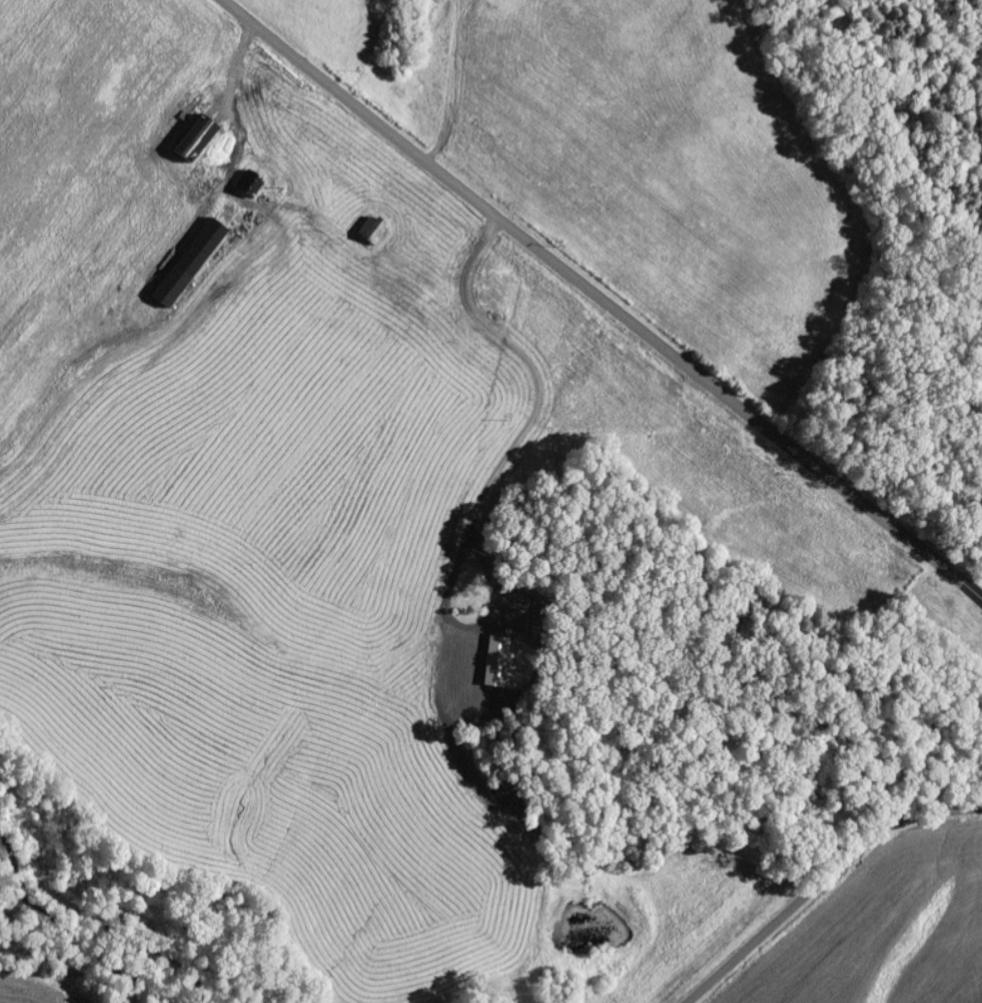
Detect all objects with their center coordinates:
building: (195, 140)
building: (253, 188)
building: (372, 232)
building: (189, 265)
road: (602, 299)
road: (964, 538)
road: (825, 883)

